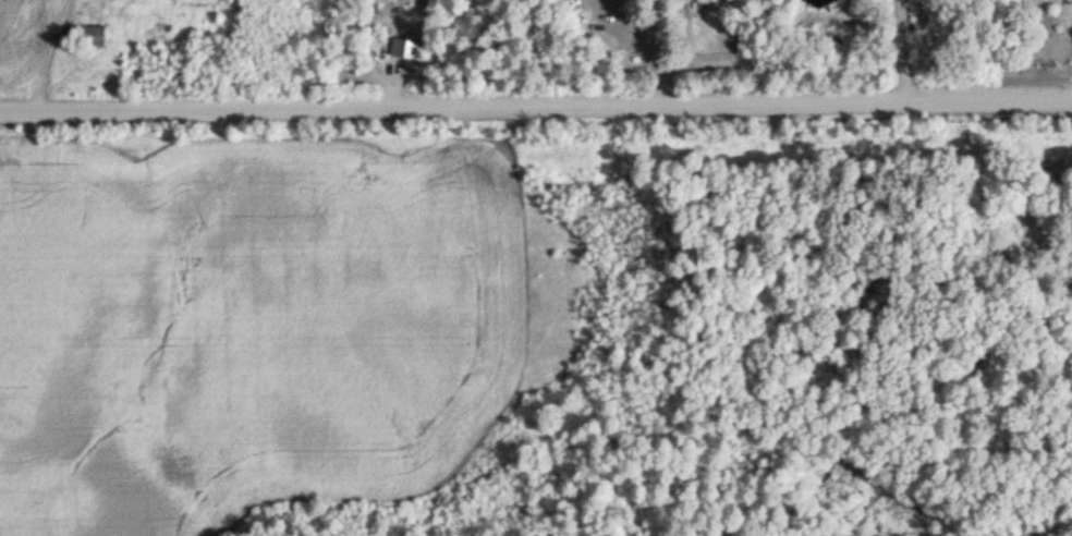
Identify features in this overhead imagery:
building: (93, 36)
road: (662, 50)
road: (905, 50)
road: (535, 103)

